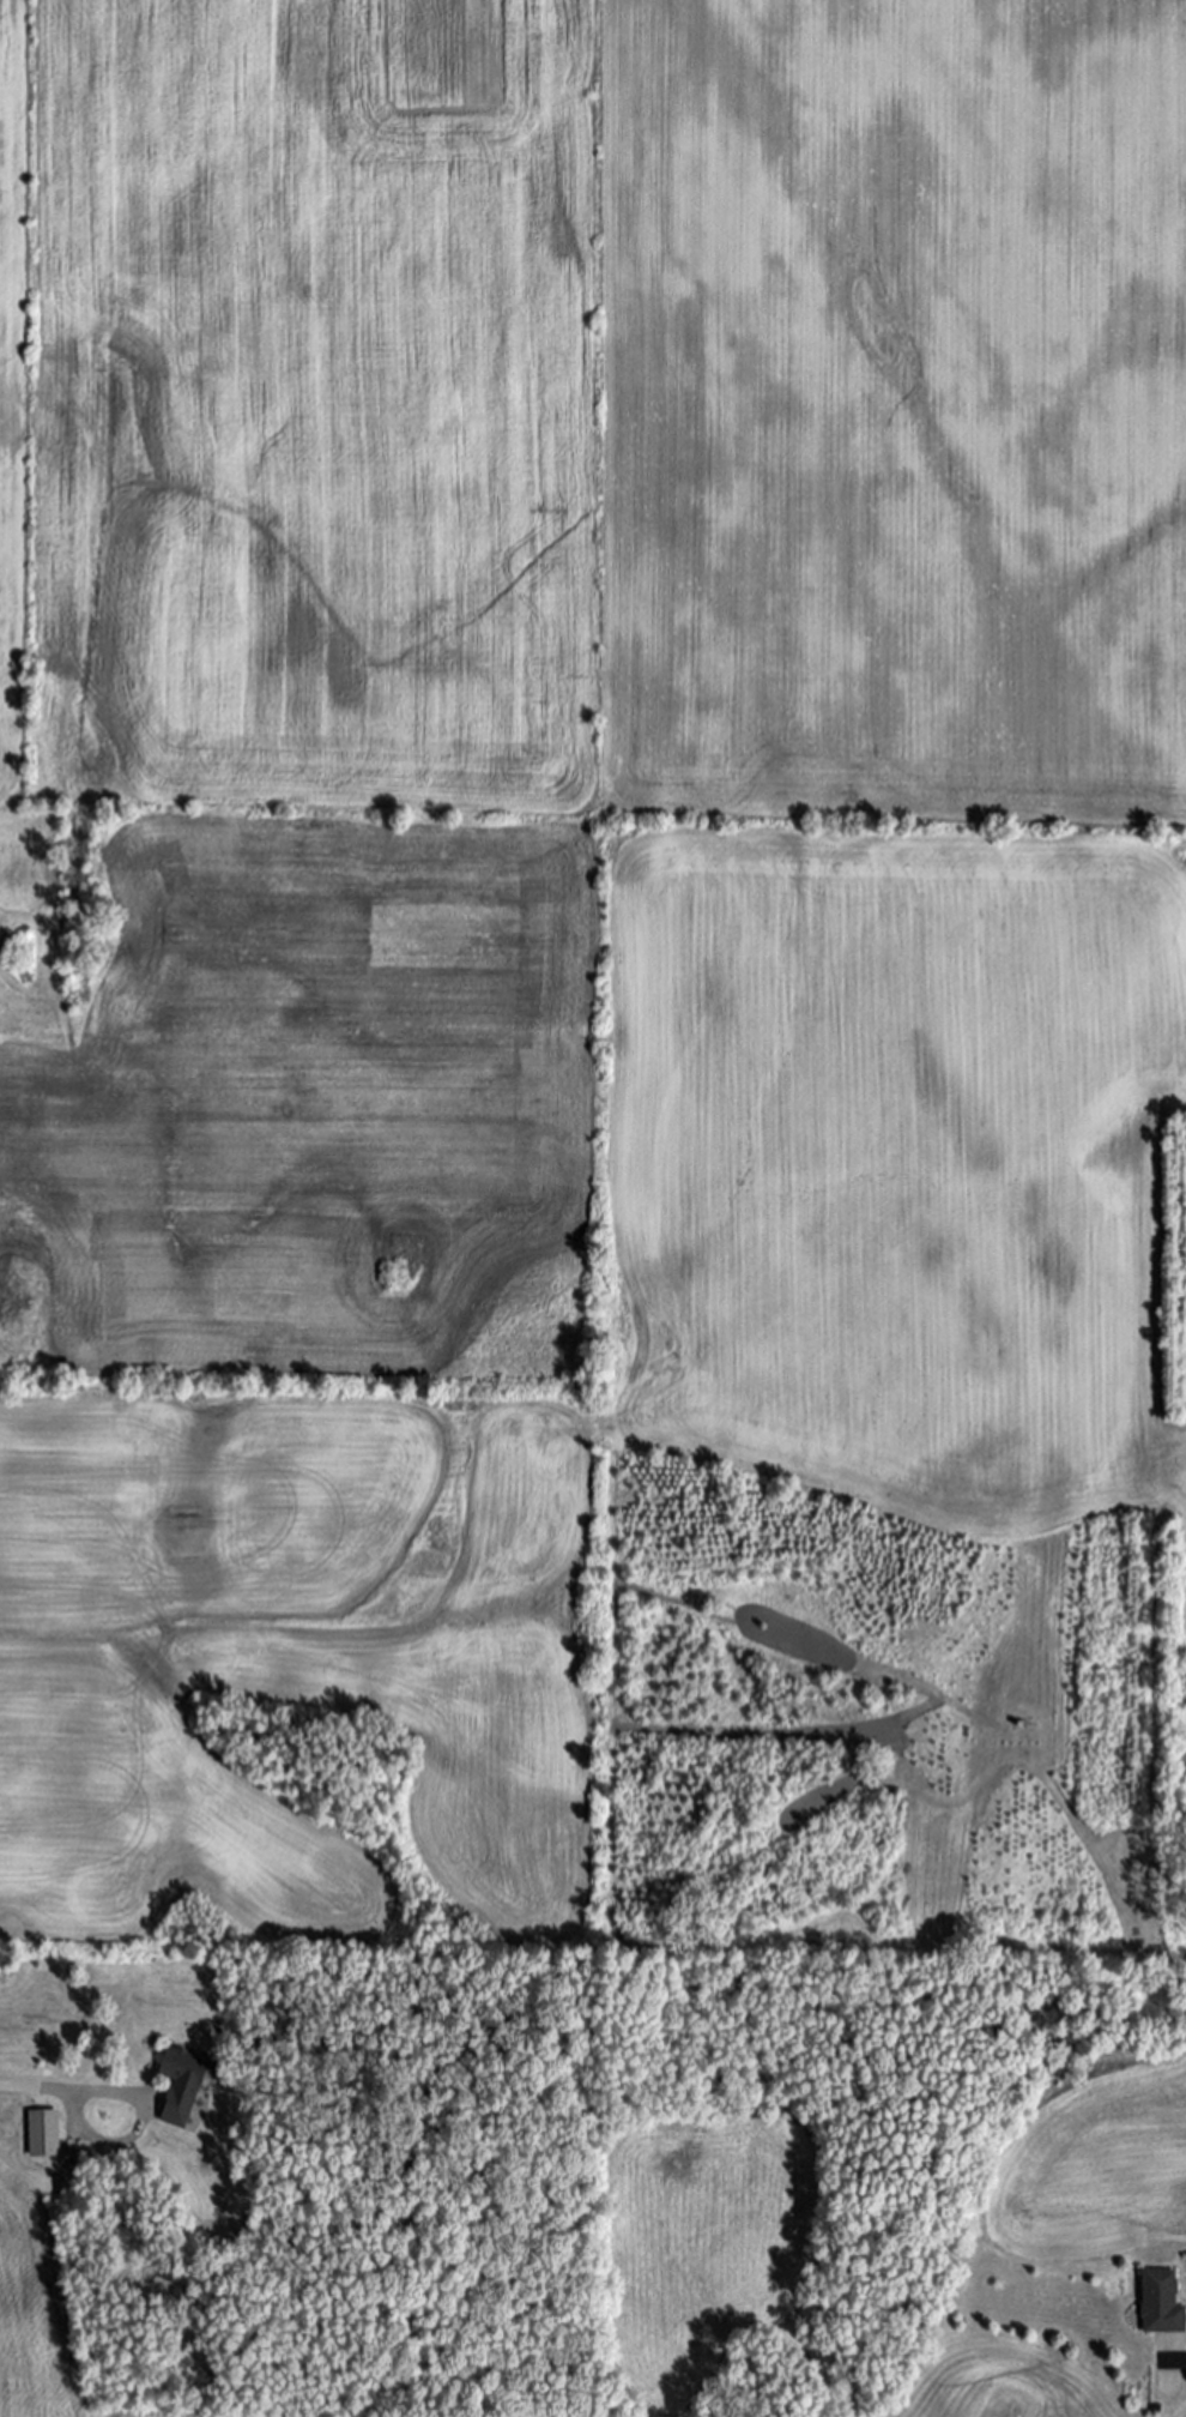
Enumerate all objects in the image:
building: (186, 2087)
road: (37, 2088)
road: (135, 2130)
building: (47, 2133)
building: (1162, 2304)
road: (1175, 2358)

